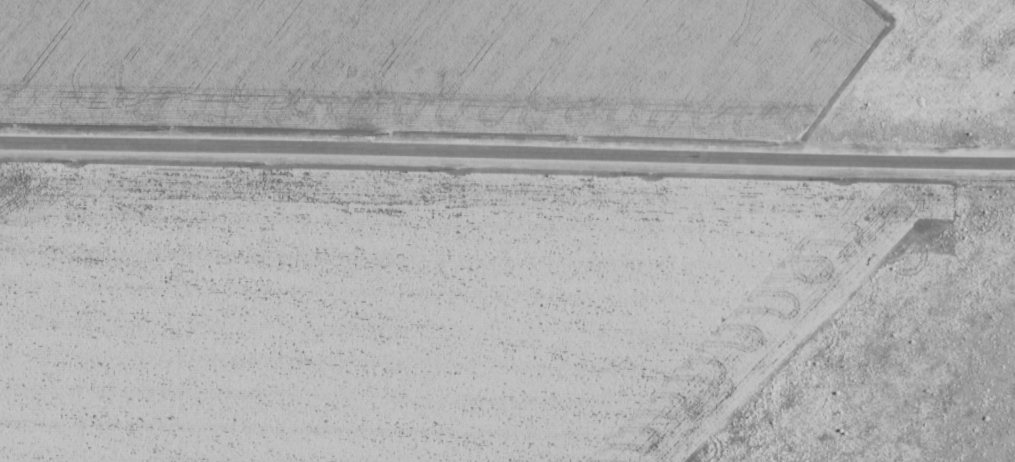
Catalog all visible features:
crop: (515, 72)
road: (507, 157)
crop: (502, 319)

